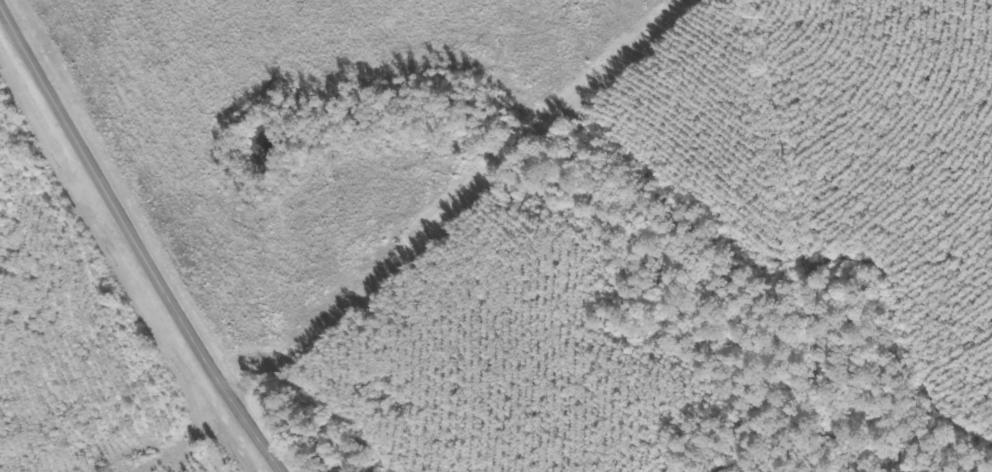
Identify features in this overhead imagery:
road: (436, 197)
road: (135, 241)

